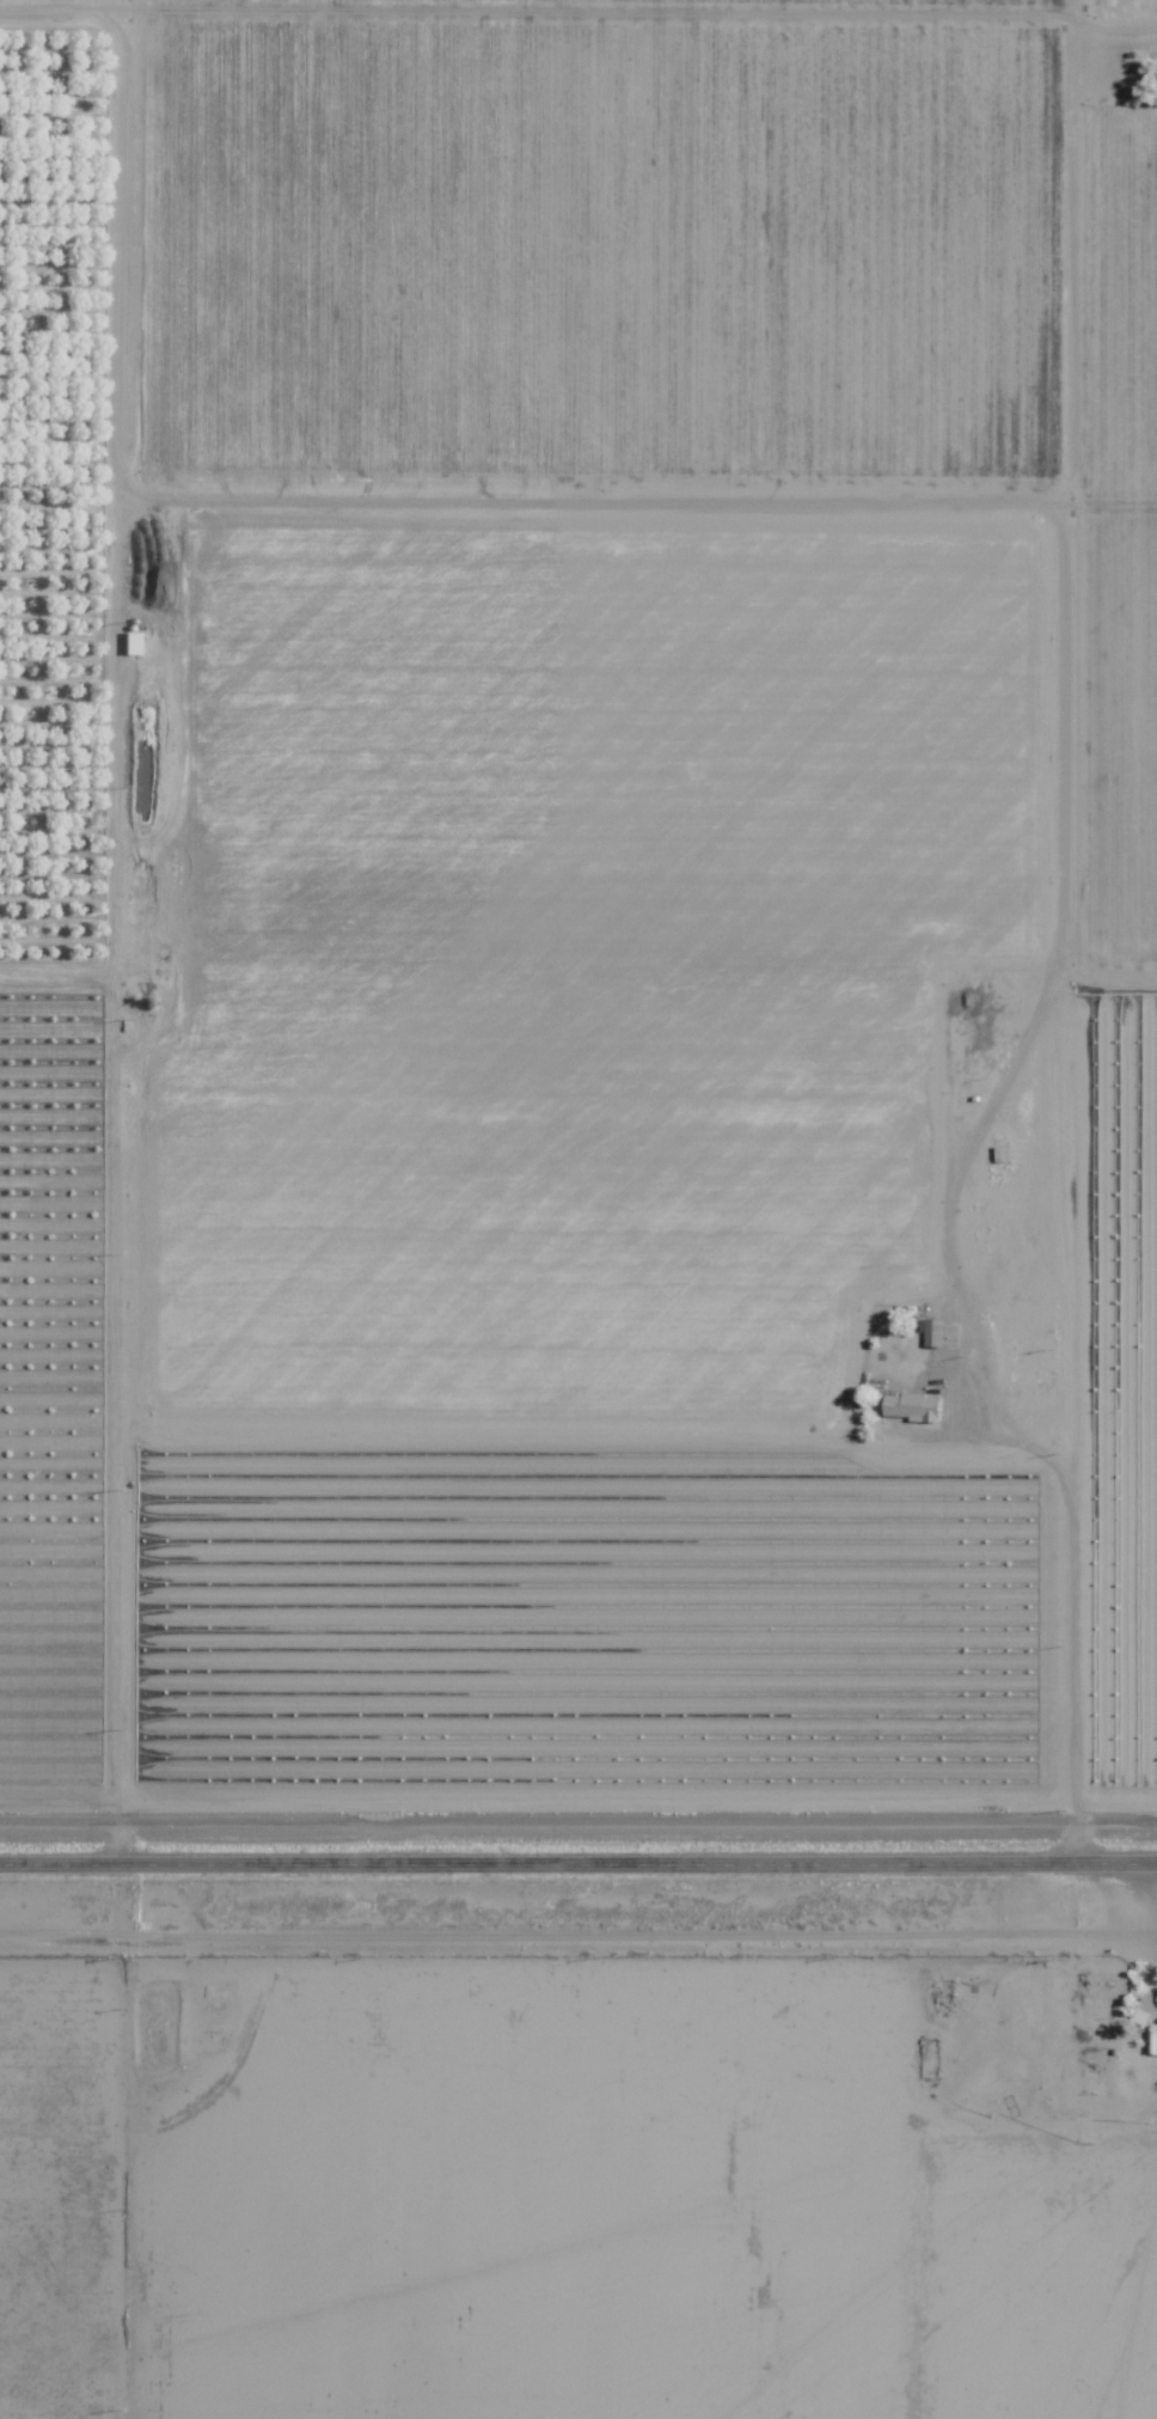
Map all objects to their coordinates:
crop: (857, 0)
crop: (1120, 8)
road: (605, 12)
road: (1115, 30)
road: (1072, 244)
crop: (602, 248)
crop: (1120, 300)
road: (411, 482)
road: (114, 489)
road: (858, 501)
crop: (600, 727)
crop: (1120, 737)
road: (1078, 772)
road: (688, 958)
crop: (533, 1190)
crop: (51, 1387)
crop: (1120, 1404)
building: (910, 1406)
road: (541, 1428)
road: (115, 1430)
road: (1069, 1528)
crop: (595, 1625)
road: (578, 1865)
building: (1152, 2039)

